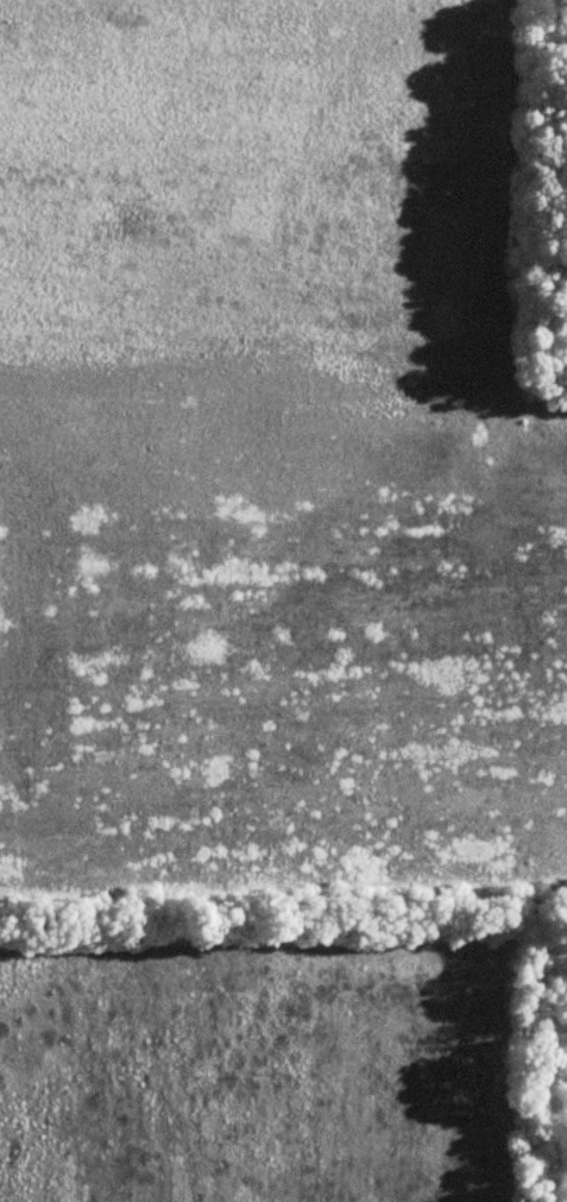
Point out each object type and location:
road: (263, 584)

